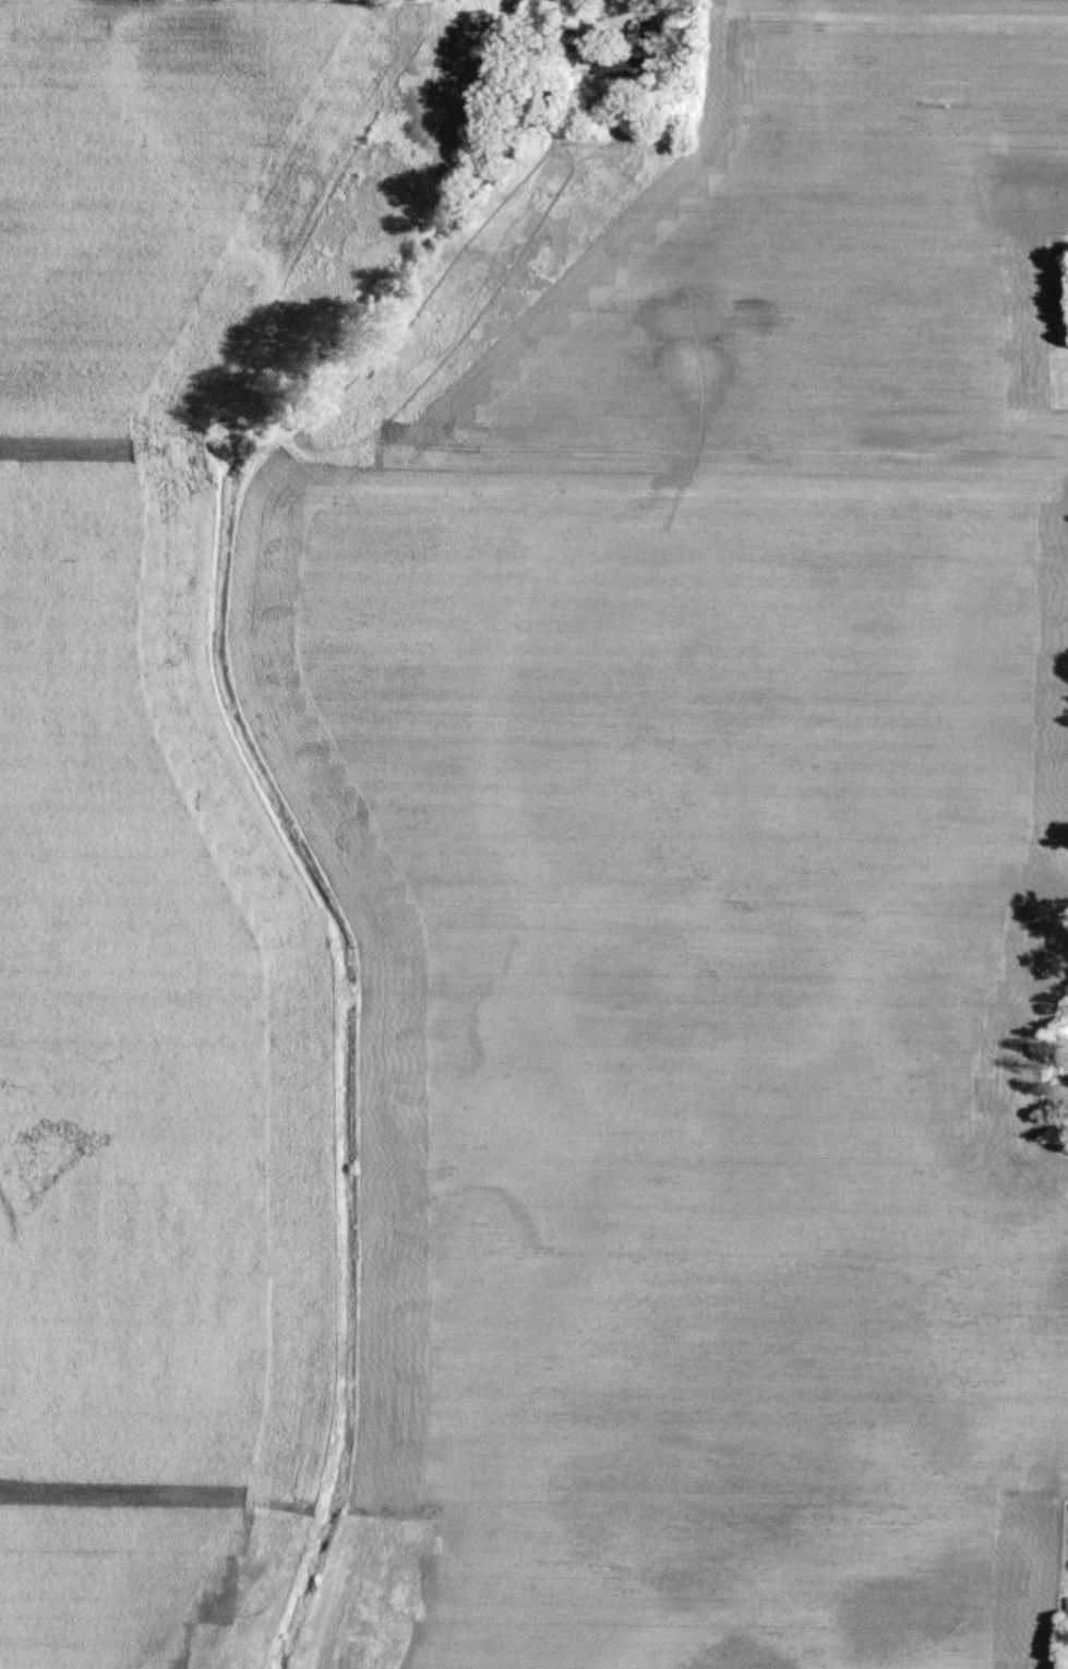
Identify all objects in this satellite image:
building: (627, 64)
building: (981, 1101)

